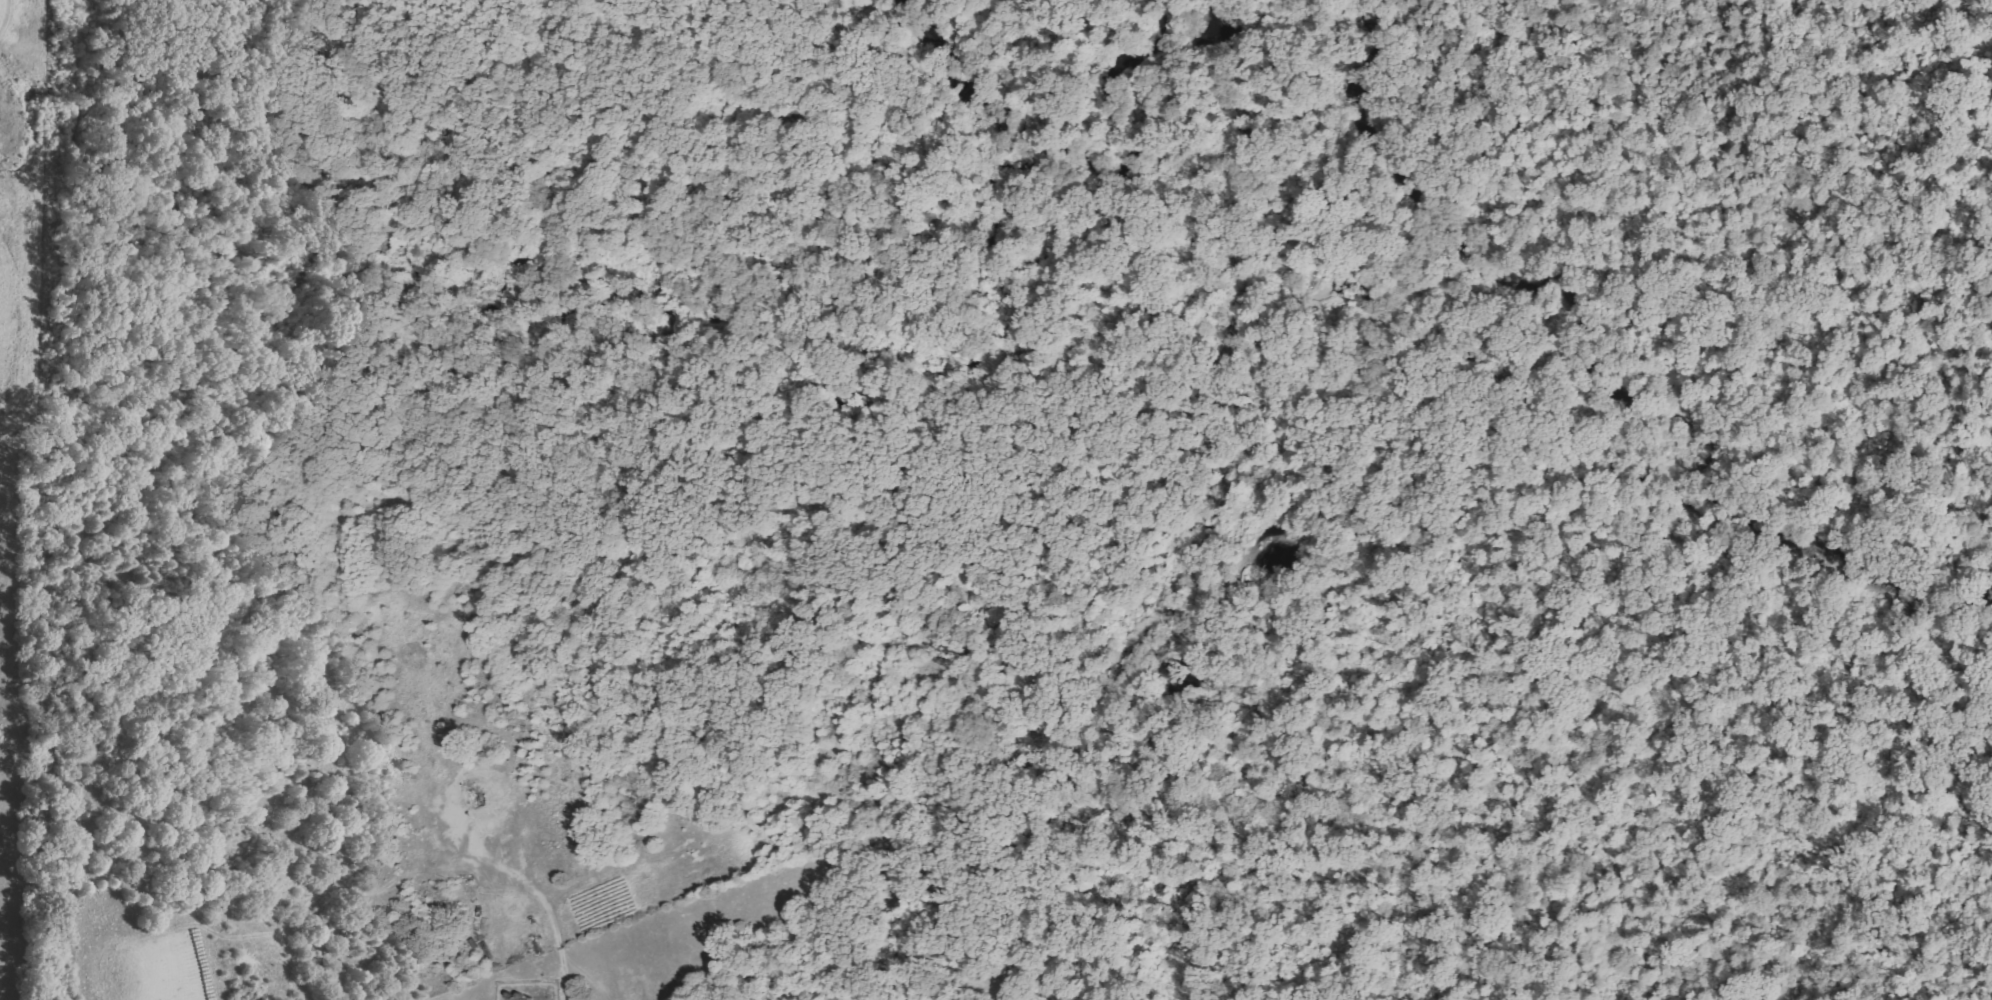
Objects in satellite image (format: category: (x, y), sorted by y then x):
road: (1083, 740)

